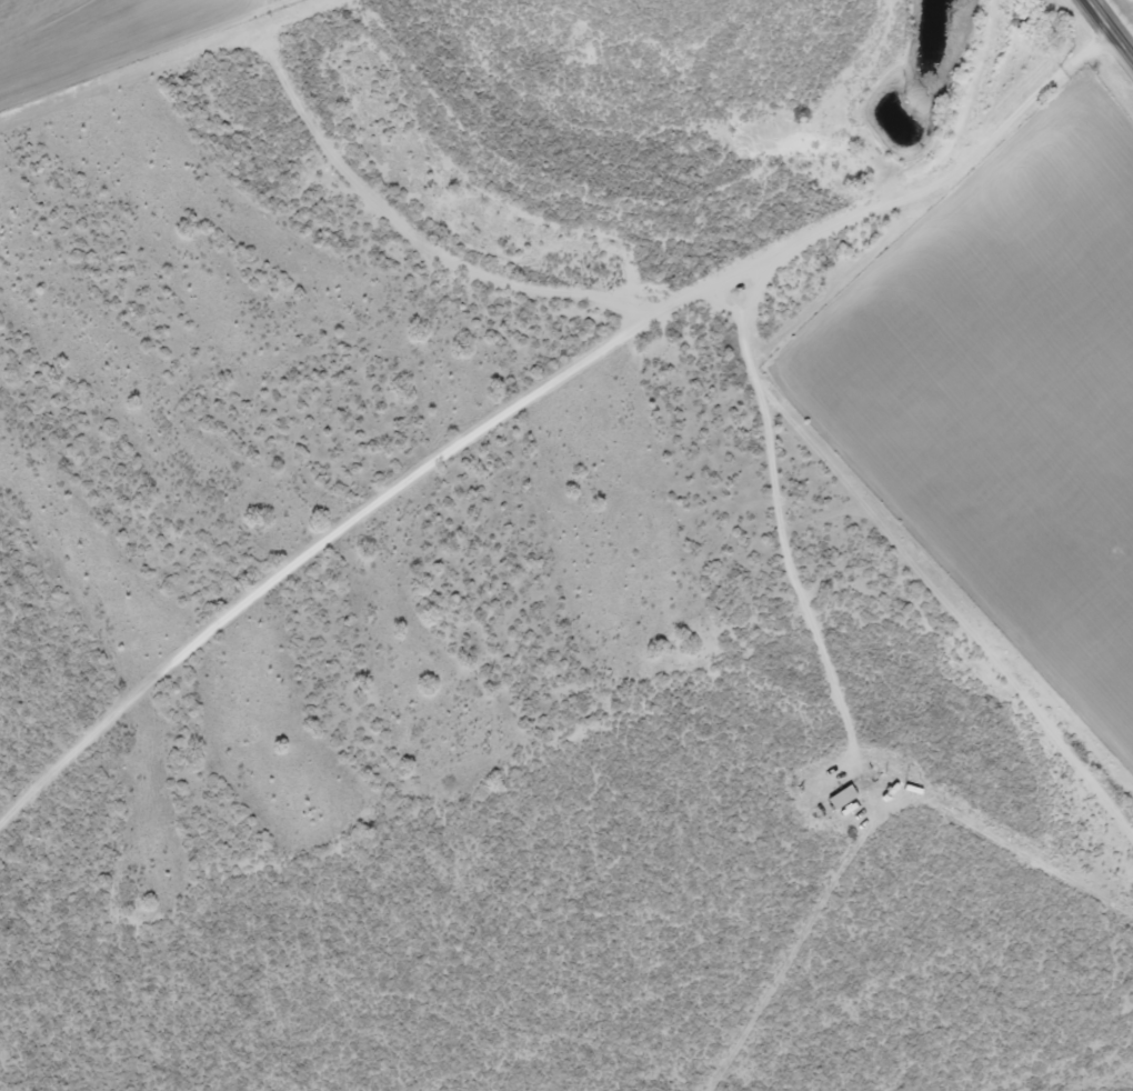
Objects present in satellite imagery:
road: (1111, 28)
road: (334, 188)
road: (799, 404)
road: (283, 593)
building: (840, 798)

